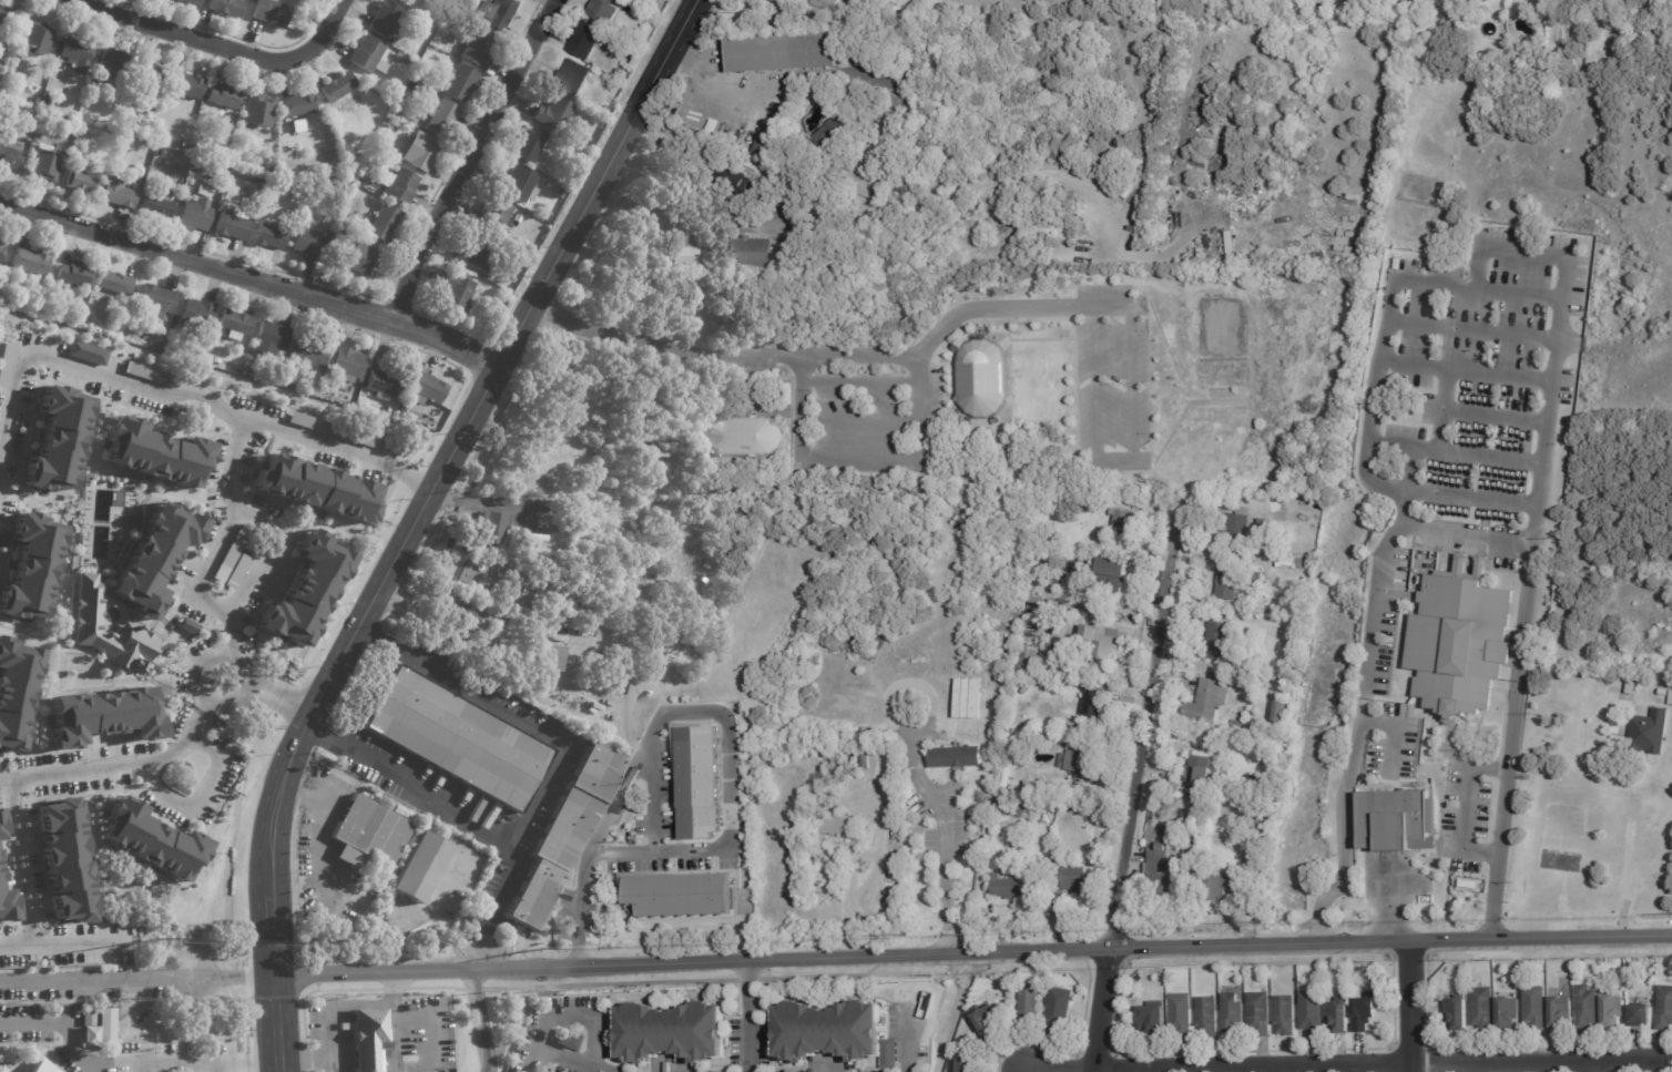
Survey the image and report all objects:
building: (192, 2)
building: (407, 3)
building: (826, 4)
building: (1322, 4)
building: (1360, 4)
building: (226, 8)
building: (1, 10)
building: (273, 12)
building: (604, 12)
building: (876, 13)
building: (499, 14)
building: (386, 21)
building: (621, 25)
building: (441, 32)
building: (38, 41)
building: (587, 42)
road: (222, 47)
building: (480, 48)
building: (782, 51)
building: (78, 55)
building: (369, 58)
building: (408, 61)
building: (415, 64)
building: (422, 67)
building: (112, 69)
building: (417, 76)
building: (623, 76)
building: (150, 78)
building: (572, 80)
building: (459, 84)
building: (186, 86)
building: (338, 89)
building: (224, 98)
building: (49, 102)
building: (299, 105)
building: (259, 112)
building: (890, 112)
building: (555, 115)
building: (441, 119)
building: (297, 125)
building: (389, 132)
building: (837, 132)
building: (124, 145)
building: (773, 145)
building: (532, 146)
building: (192, 150)
building: (159, 154)
building: (424, 154)
road: (470, 157)
building: (10, 159)
building: (369, 167)
building: (542, 167)
building: (44, 169)
building: (210, 169)
building: (217, 172)
building: (274, 172)
building: (732, 177)
building: (779, 180)
building: (261, 182)
building: (910, 183)
building: (82, 184)
building: (519, 186)
building: (401, 187)
building: (878, 188)
building: (203, 192)
building: (560, 193)
road: (686, 193)
building: (119, 195)
building: (271, 196)
building: (159, 206)
building: (500, 213)
building: (195, 217)
building: (384, 224)
building: (234, 226)
building: (1054, 231)
building: (271, 237)
building: (310, 245)
building: (2, 251)
building: (753, 253)
building: (682, 256)
building: (478, 257)
building: (358, 259)
road: (1479, 262)
building: (31, 264)
building: (74, 276)
building: (1, 277)
road: (252, 277)
building: (8, 279)
building: (115, 285)
building: (457, 293)
building: (156, 303)
road: (1005, 308)
building: (125, 310)
building: (197, 315)
building: (235, 324)
building: (271, 341)
building: (85, 353)
building: (310, 354)
road: (874, 358)
building: (217, 361)
building: (281, 366)
building: (344, 368)
building: (146, 374)
building: (980, 379)
building: (383, 385)
building: (289, 386)
building: (1589, 388)
building: (428, 390)
road: (194, 402)
building: (405, 409)
building: (415, 414)
building: (298, 419)
building: (743, 437)
road: (320, 440)
building: (58, 441)
building: (650, 450)
building: (154, 453)
building: (931, 460)
building: (626, 469)
road: (440, 474)
road: (409, 480)
building: (630, 480)
building: (315, 488)
road: (487, 502)
building: (1120, 524)
building: (492, 528)
building: (1240, 528)
building: (153, 557)
building: (1038, 561)
road: (274, 563)
building: (1285, 563)
building: (1075, 566)
building: (31, 568)
building: (1110, 579)
building: (1255, 580)
building: (1227, 584)
road: (1522, 588)
building: (304, 592)
building: (562, 610)
building: (479, 615)
building: (85, 625)
building: (1220, 640)
building: (1460, 642)
road: (232, 643)
building: (1104, 643)
building: (600, 649)
building: (945, 649)
building: (909, 653)
building: (553, 655)
building: (1030, 661)
building: (1243, 664)
road: (197, 665)
building: (1665, 684)
building: (1630, 688)
road: (462, 690)
road: (241, 691)
building: (16, 692)
building: (1664, 693)
building: (592, 698)
road: (277, 700)
building: (1095, 700)
building: (1671, 701)
building: (1207, 703)
building: (590, 704)
road: (205, 705)
building: (1280, 711)
road: (695, 713)
building: (103, 716)
building: (1238, 724)
building: (857, 731)
building: (1652, 733)
building: (453, 736)
building: (868, 738)
building: (956, 758)
road: (110, 763)
building: (866, 763)
building: (1080, 765)
building: (1197, 770)
building: (836, 773)
building: (652, 774)
building: (1273, 778)
building: (694, 782)
building: (1257, 782)
road: (414, 785)
building: (1173, 786)
road: (1138, 788)
building: (1047, 792)
road: (328, 793)
road: (197, 795)
building: (856, 796)
building: (845, 805)
building: (1082, 806)
building: (1001, 809)
building: (1265, 810)
building: (1027, 813)
building: (623, 818)
building: (1398, 821)
building: (1260, 824)
road: (1343, 824)
building: (836, 825)
building: (0, 830)
building: (370, 833)
building: (567, 833)
road: (947, 837)
building: (1262, 839)
building: (147, 840)
road: (318, 843)
road: (1627, 855)
road: (516, 856)
building: (64, 860)
building: (1206, 861)
building: (1163, 864)
building: (420, 867)
road: (20, 874)
building: (1071, 879)
building: (1222, 885)
building: (1008, 887)
building: (675, 894)
building: (6, 903)
power tower: (1260, 920)
power tower: (904, 933)
road: (75, 940)
power tower: (157, 940)
power tower: (541, 948)
road: (973, 952)
building: (1346, 969)
building: (1461, 972)
road: (137, 977)
building: (1327, 980)
building: (1030, 1004)
building: (1536, 1005)
building: (1588, 1005)
road: (325, 1007)
road: (1411, 1008)
building: (1484, 1008)
building: (1665, 1008)
building: (1059, 1009)
building: (1613, 1009)
building: (1508, 1010)
building: (1561, 1010)
building: (1313, 1011)
building: (1364, 1011)
building: (70, 1012)
building: (1261, 1012)
building: (1460, 1012)
building: (1285, 1013)
building: (1340, 1013)
building: (1182, 1014)
building: (1209, 1014)
building: (1233, 1014)
building: (1640, 1014)
road: (573, 1015)
road: (751, 1015)
building: (1154, 1019)
road: (429, 1020)
building: (989, 1020)
road: (476, 1021)
road: (277, 1022)
road: (54, 1024)
building: (106, 1028)
building: (673, 1030)
building: (834, 1032)
building: (90, 1034)
building: (368, 1037)
building: (571, 1039)
road: (907, 1042)
road: (196, 1059)
road: (573, 1060)
road: (534, 1063)
building: (970, 1064)
road: (214, 1065)
road: (1383, 1066)
road: (1589, 1066)
building: (39, 1068)

